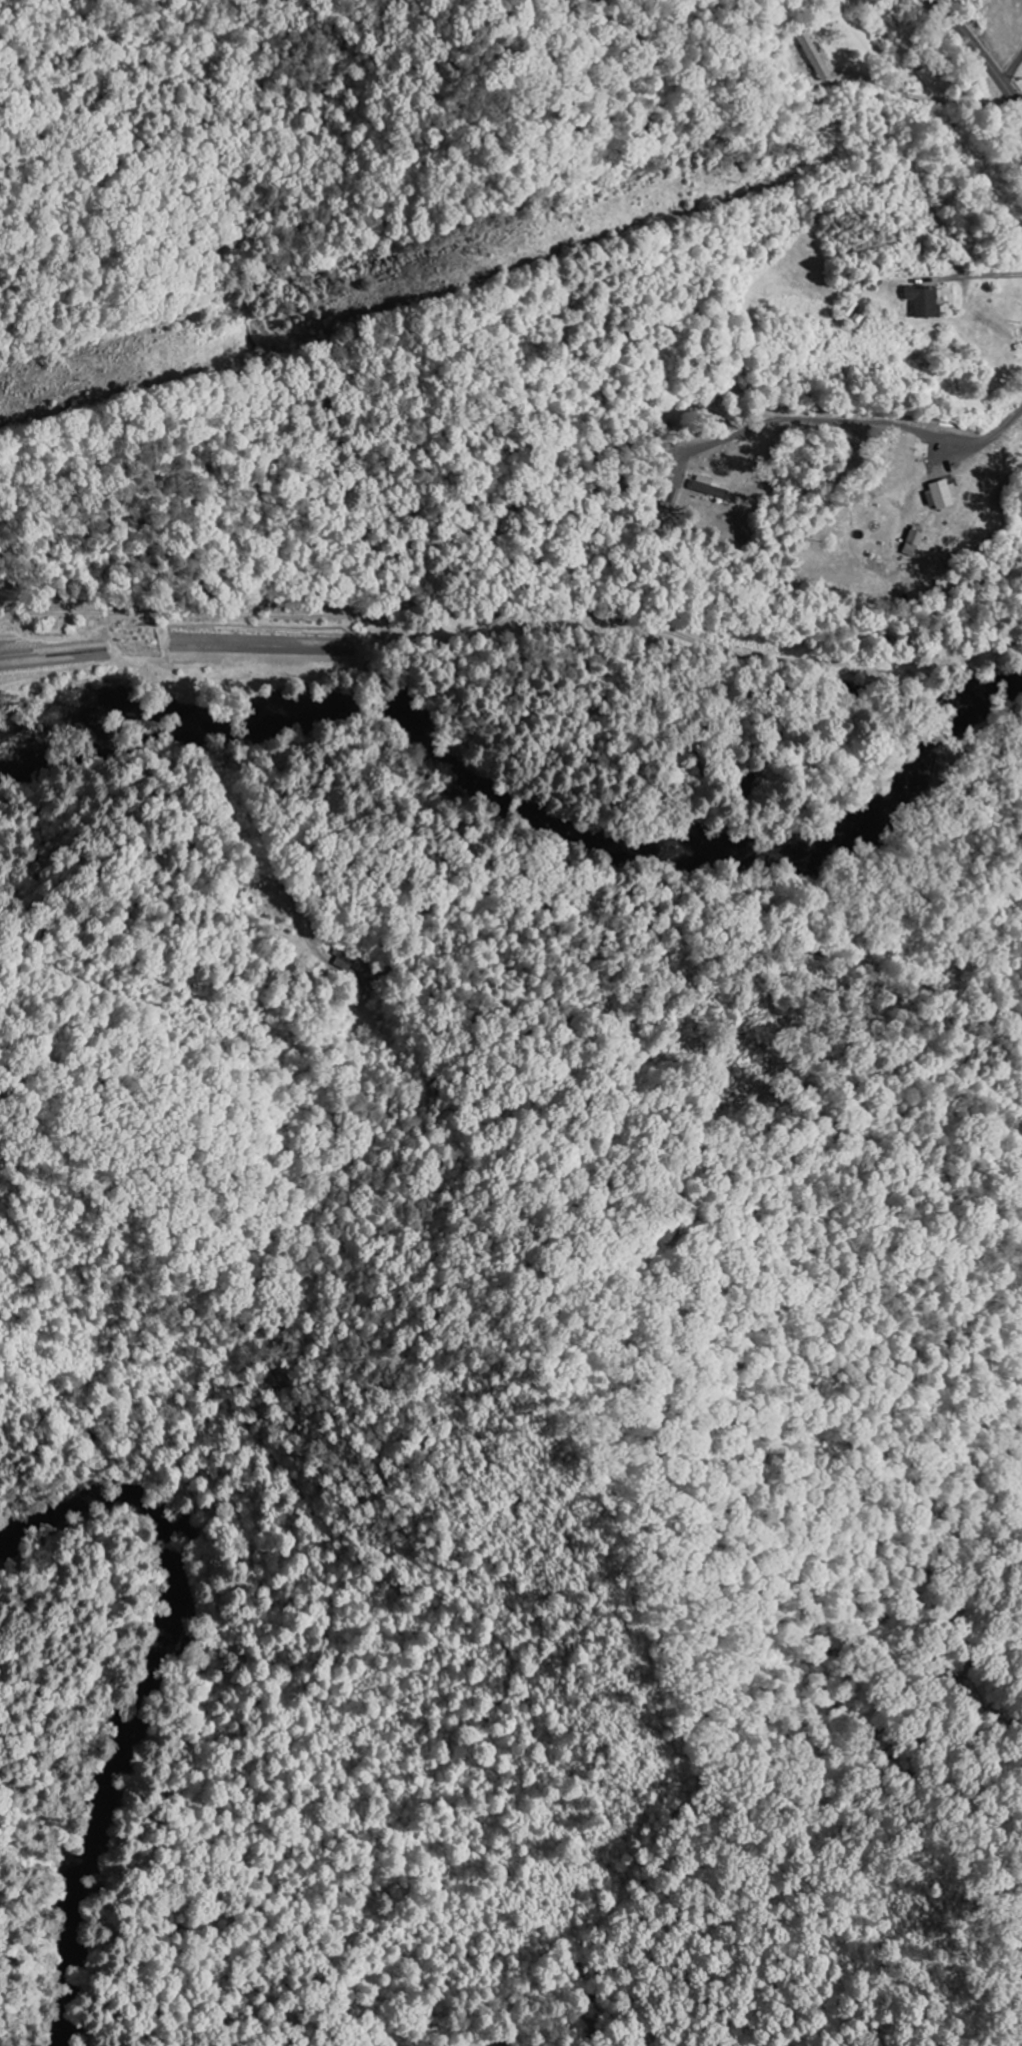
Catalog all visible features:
road: (981, 56)
building: (813, 57)
building: (926, 301)
building: (707, 487)
building: (941, 494)
building: (912, 541)
road: (438, 553)
river: (521, 810)
river: (143, 1694)

